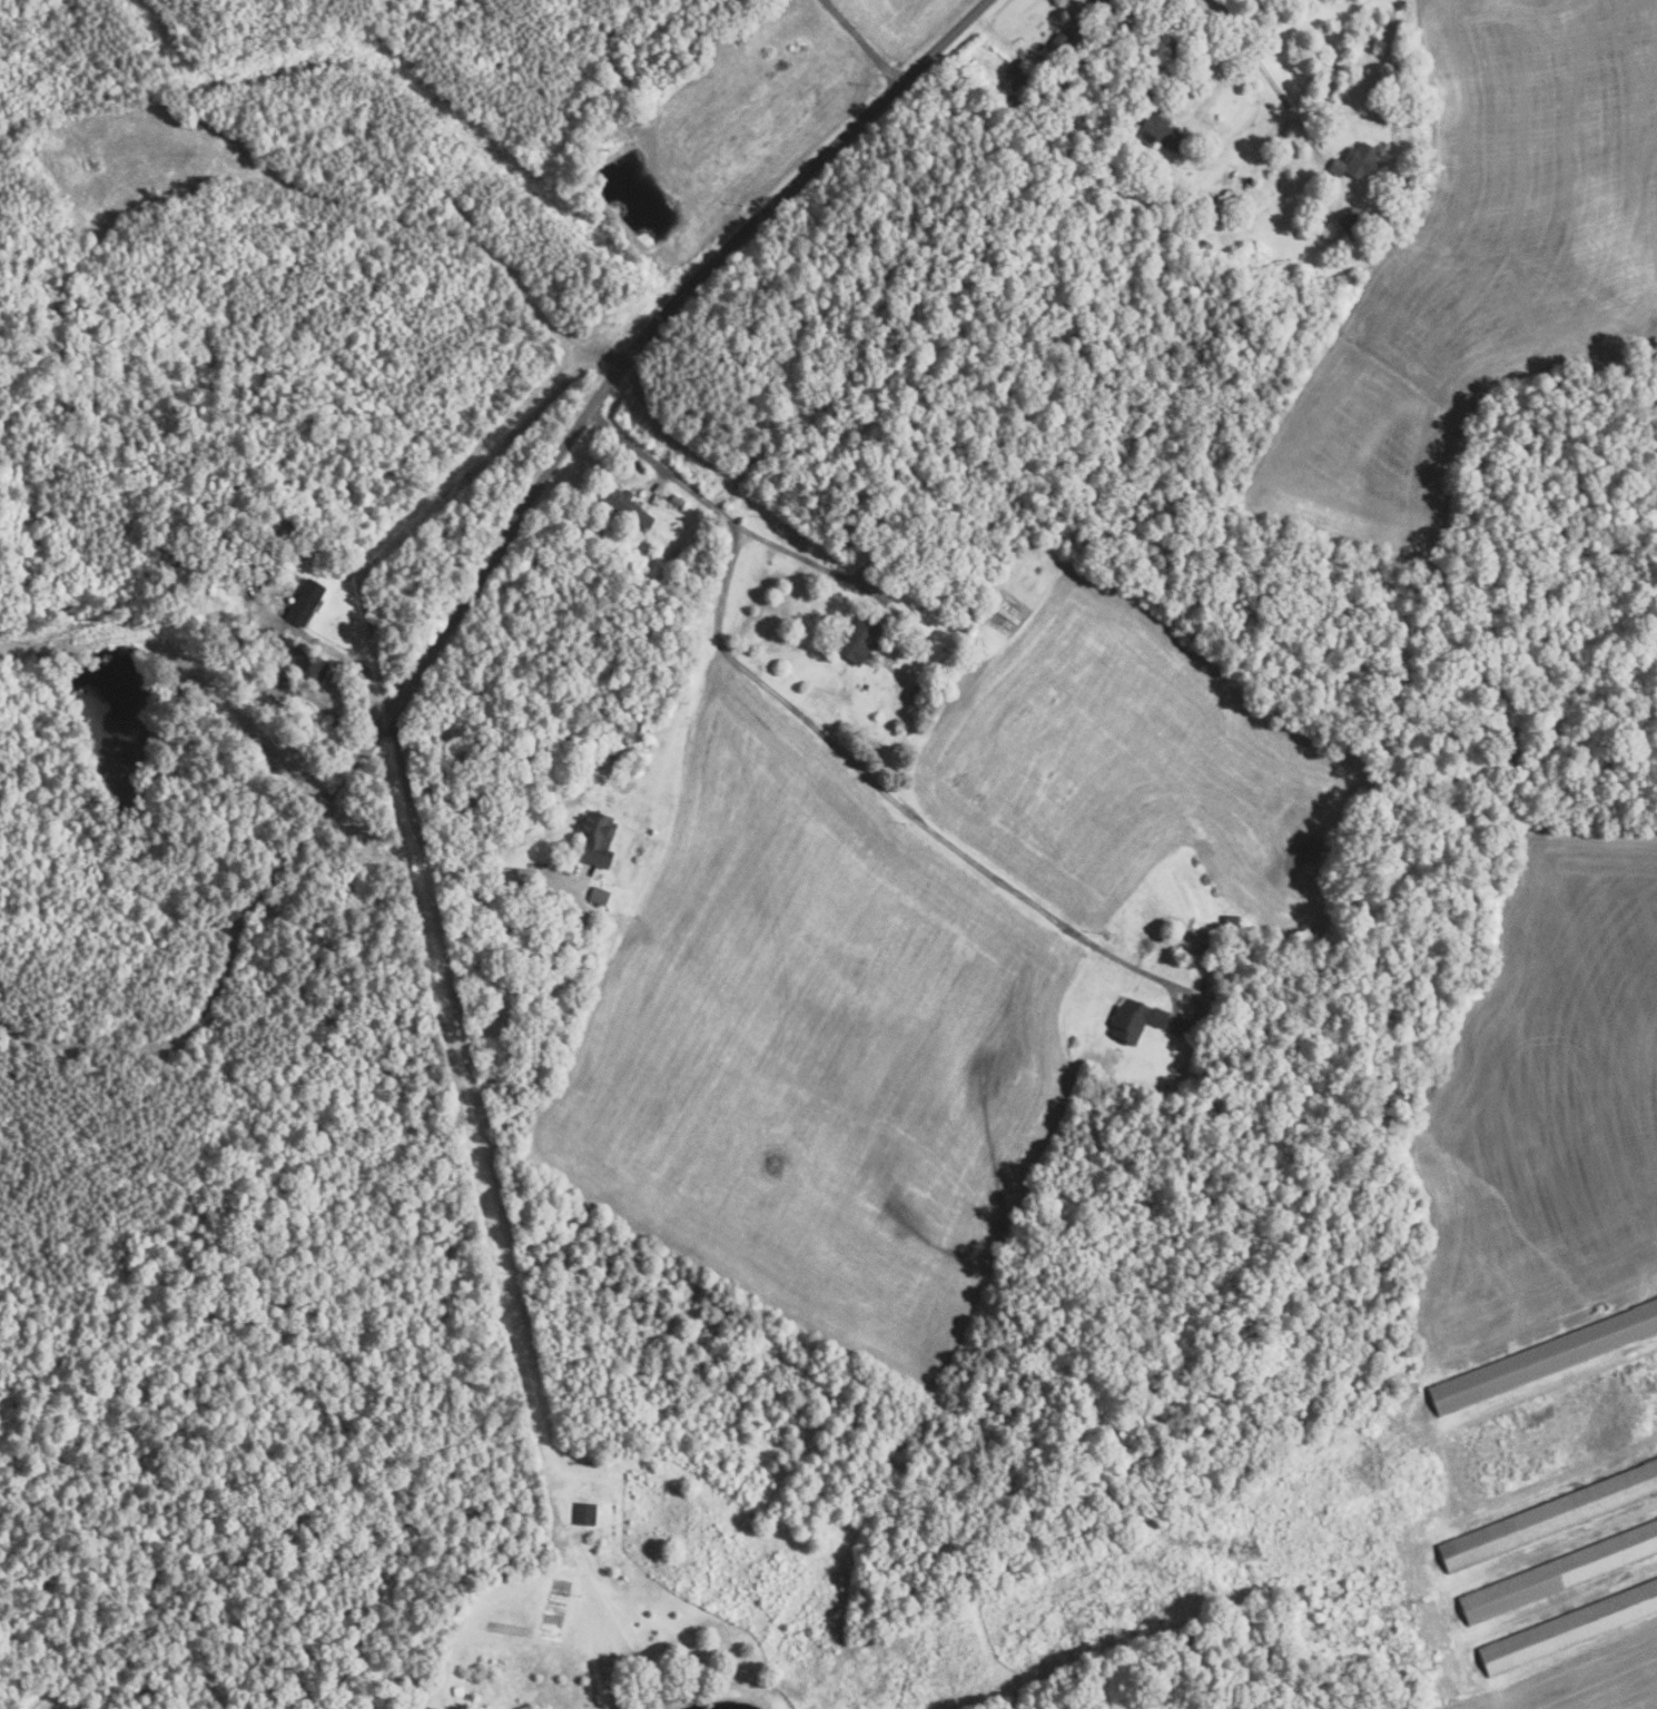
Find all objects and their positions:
crop: (898, 19)
road: (862, 42)
building: (1056, 42)
building: (1039, 59)
road: (1172, 59)
road: (1265, 75)
building: (1012, 77)
crop: (752, 100)
building: (1270, 106)
building: (1131, 129)
building: (1157, 134)
building: (1354, 161)
building: (1109, 187)
building: (1206, 200)
building: (1350, 223)
road: (653, 330)
building: (748, 458)
road: (667, 472)
road: (659, 481)
building: (675, 501)
building: (624, 505)
crop: (1655, 513)
building: (244, 560)
building: (914, 573)
road: (848, 577)
building: (303, 603)
building: (856, 636)
building: (257, 640)
building: (297, 655)
road: (358, 656)
building: (274, 691)
building: (914, 692)
road: (230, 702)
building: (603, 755)
crop: (1133, 770)
road: (897, 803)
building: (593, 838)
road: (420, 844)
building: (596, 895)
building: (1229, 918)
building: (1199, 948)
building: (1132, 1019)
crop: (818, 1053)
crop: (1543, 1097)
building: (1543, 1357)
building: (583, 1513)
building: (1549, 1515)
power tower: (1246, 1550)
building: (1558, 1571)
building: (1569, 1627)
crop: (1585, 1679)
building: (452, 1707)

